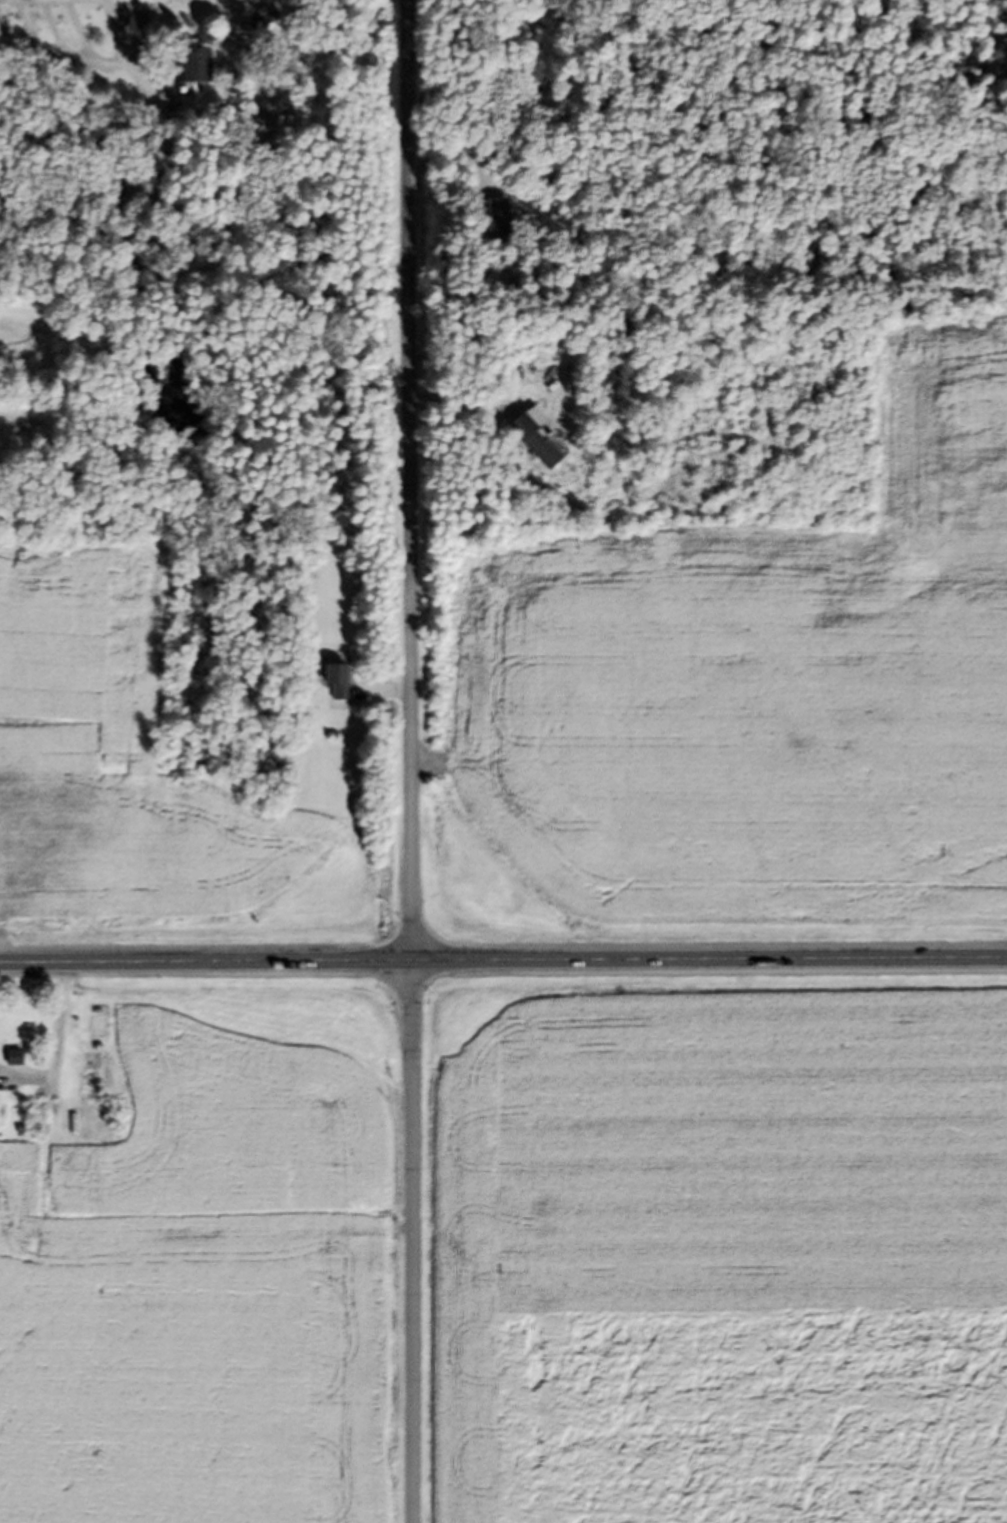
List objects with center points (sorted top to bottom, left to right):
building: (191, 70)
building: (531, 447)
building: (333, 686)
road: (410, 761)
road: (503, 962)

